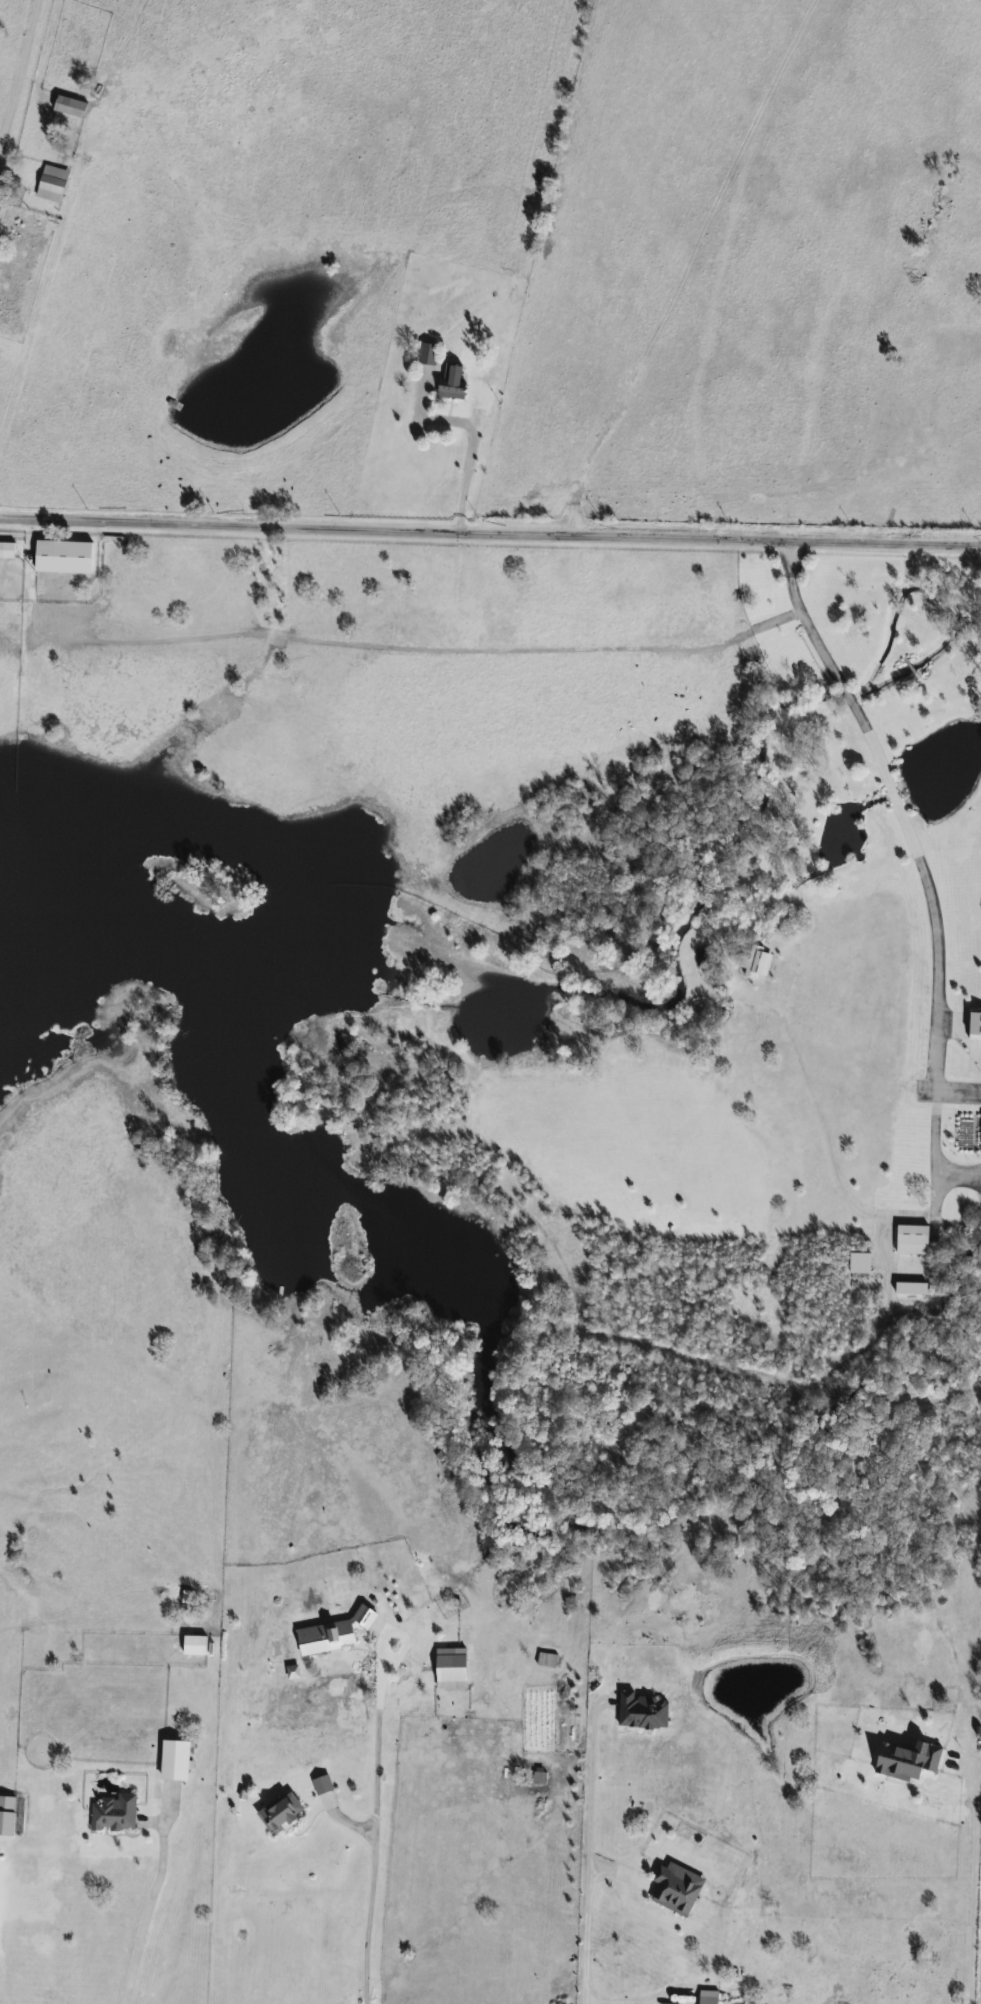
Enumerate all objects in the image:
building: (72, 106)
building: (54, 184)
road: (31, 329)
building: (430, 353)
building: (455, 380)
road: (464, 474)
road: (490, 533)
building: (3, 548)
road: (930, 923)
building: (759, 962)
building: (977, 1024)
road: (953, 1090)
road: (817, 1121)
road: (955, 1174)
building: (915, 1238)
building: (337, 1632)
building: (545, 1659)
building: (646, 1710)
building: (178, 1760)
building: (910, 1760)
building: (325, 1784)
building: (8, 1807)
building: (117, 1812)
building: (284, 1813)
road: (369, 1837)
road: (585, 1858)
road: (972, 1884)
building: (679, 1887)
road: (146, 1913)
building: (710, 1999)

